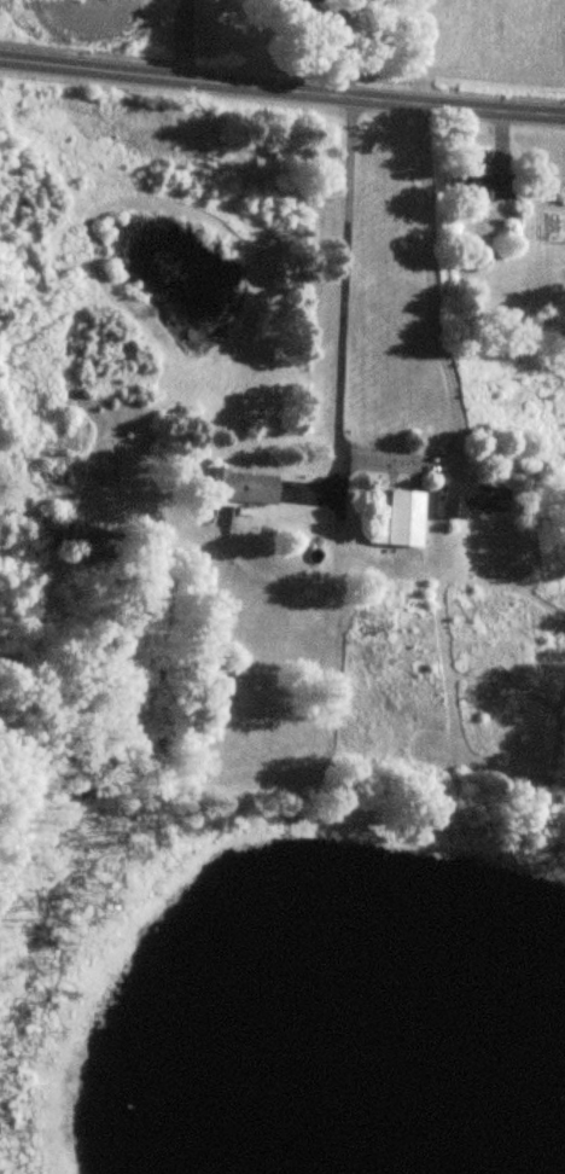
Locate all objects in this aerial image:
building: (299, 1)
road: (339, 47)
road: (281, 89)
building: (485, 184)
road: (343, 289)
building: (559, 324)
road: (432, 339)
road: (309, 486)
building: (241, 487)
building: (472, 500)
building: (396, 519)

